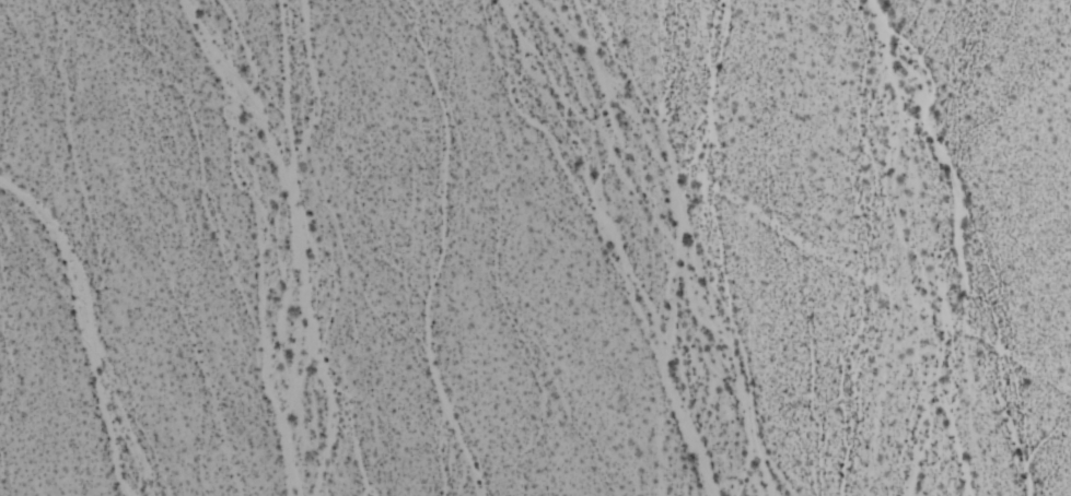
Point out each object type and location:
road: (756, 200)

